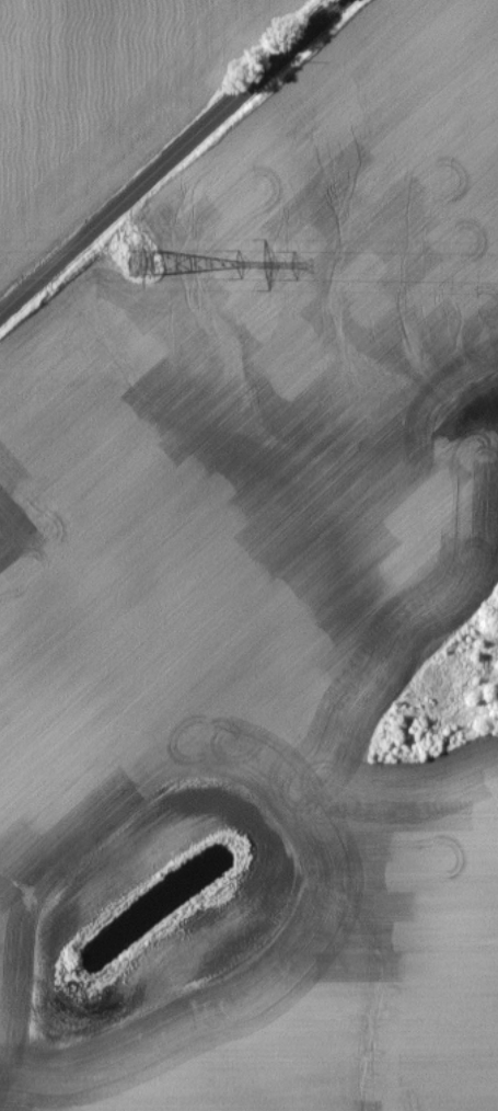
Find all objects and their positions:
road: (171, 156)
power tower: (141, 263)

